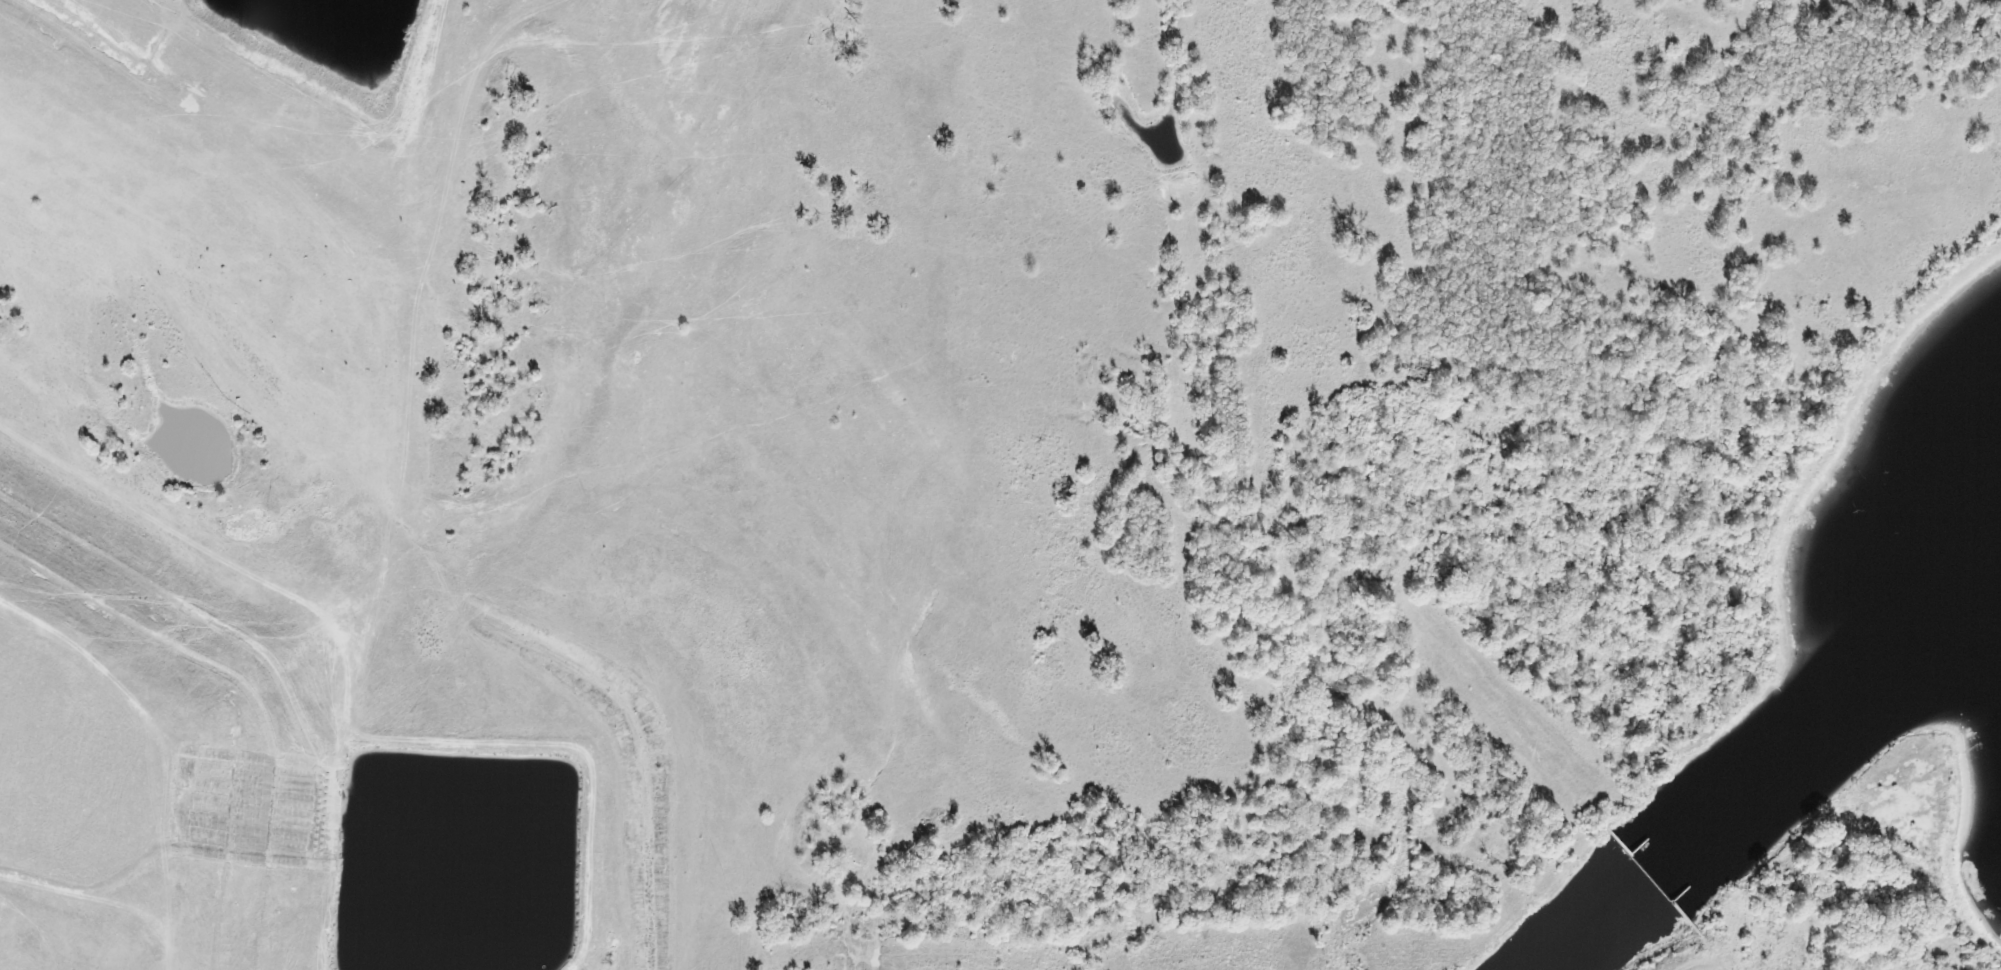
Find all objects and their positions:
dam: (1653, 882)
road: (1702, 962)

